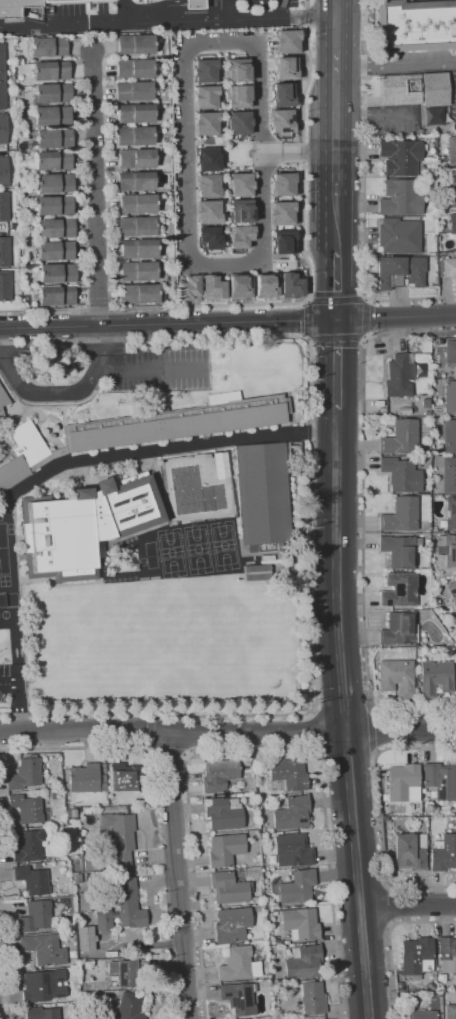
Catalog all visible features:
building: (193, 4)
road: (174, 5)
building: (57, 8)
road: (281, 8)
road: (228, 9)
road: (124, 12)
road: (168, 21)
building: (417, 29)
building: (286, 41)
building: (134, 44)
building: (47, 46)
road: (396, 64)
building: (133, 68)
building: (285, 68)
building: (50, 70)
building: (204, 70)
building: (237, 70)
road: (364, 71)
building: (1, 77)
building: (404, 86)
building: (132, 90)
building: (51, 93)
building: (282, 94)
building: (236, 96)
building: (204, 97)
building: (134, 113)
road: (184, 113)
building: (51, 115)
building: (281, 120)
road: (336, 120)
building: (238, 122)
building: (205, 123)
building: (2, 129)
building: (134, 135)
building: (53, 137)
building: (451, 151)
building: (401, 157)
building: (135, 158)
building: (206, 159)
building: (52, 160)
building: (3, 172)
building: (135, 180)
building: (53, 182)
building: (239, 184)
building: (282, 184)
building: (207, 185)
road: (98, 190)
building: (451, 190)
building: (401, 197)
building: (136, 203)
building: (53, 205)
building: (3, 206)
building: (240, 210)
building: (208, 212)
building: (281, 213)
building: (452, 223)
building: (135, 225)
building: (55, 227)
road: (0, 228)
building: (240, 236)
building: (399, 236)
building: (209, 237)
building: (282, 242)
building: (137, 248)
building: (54, 250)
building: (4, 251)
road: (364, 266)
building: (447, 268)
building: (136, 271)
building: (401, 271)
building: (56, 272)
road: (337, 281)
building: (4, 285)
building: (265, 285)
building: (290, 285)
building: (238, 286)
building: (212, 287)
building: (187, 288)
building: (139, 293)
building: (56, 295)
road: (307, 300)
road: (305, 301)
road: (396, 317)
traffic signals: (337, 322)
road: (168, 327)
road: (199, 337)
building: (451, 355)
building: (411, 359)
road: (337, 365)
parking lot: (157, 367)
road: (150, 369)
building: (399, 375)
road: (60, 391)
building: (450, 397)
building: (3, 402)
building: (426, 403)
building: (404, 410)
building: (143, 430)
building: (450, 436)
building: (401, 437)
road: (156, 449)
building: (220, 465)
building: (449, 474)
building: (402, 475)
building: (183, 476)
building: (264, 493)
building: (451, 512)
building: (401, 514)
road: (363, 520)
building: (84, 525)
park: (223, 545)
building: (98, 548)
park: (3, 549)
park: (197, 549)
building: (447, 549)
building: (400, 550)
park: (170, 553)
road: (336, 570)
building: (256, 572)
building: (400, 590)
building: (452, 592)
building: (399, 629)
park: (215, 634)
building: (395, 677)
building: (436, 677)
parking lot: (13, 688)
road: (18, 699)
road: (297, 715)
road: (152, 729)
road: (316, 729)
road: (400, 729)
road: (172, 730)
road: (373, 731)
road: (256, 750)
building: (247, 767)
building: (289, 773)
building: (25, 774)
building: (219, 775)
building: (129, 777)
building: (87, 779)
building: (440, 780)
building: (403, 783)
building: (54, 794)
building: (428, 794)
road: (157, 807)
building: (27, 808)
building: (72, 813)
building: (224, 813)
building: (292, 813)
road: (380, 814)
building: (270, 830)
building: (106, 834)
building: (120, 836)
building: (28, 845)
building: (225, 849)
building: (293, 850)
building: (409, 852)
building: (444, 853)
building: (92, 862)
building: (37, 864)
building: (128, 871)
building: (240, 871)
road: (357, 874)
road: (179, 875)
building: (77, 878)
building: (33, 880)
building: (274, 880)
building: (298, 886)
building: (228, 888)
road: (408, 905)
road: (383, 906)
building: (124, 908)
building: (275, 913)
building: (36, 916)
building: (232, 924)
building: (301, 924)
building: (85, 938)
road: (390, 940)
building: (44, 949)
building: (447, 954)
building: (417, 957)
road: (4, 958)
building: (304, 962)
building: (238, 964)
building: (128, 972)
building: (265, 982)
building: (43, 986)
building: (431, 986)
building: (400, 987)
building: (418, 990)
building: (85, 993)
building: (313, 997)
building: (239, 998)
building: (130, 1006)
building: (450, 1011)
building: (42, 1013)
building: (422, 1014)
building: (101, 1018)
building: (323, 1018)

